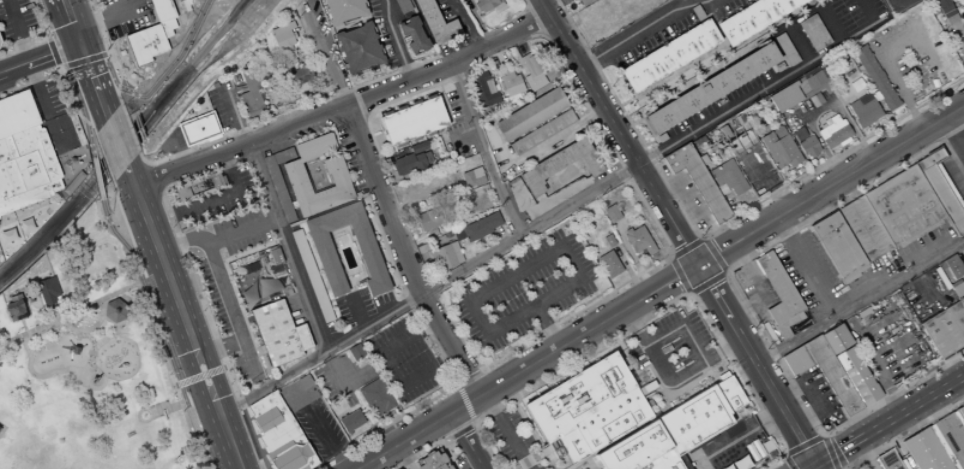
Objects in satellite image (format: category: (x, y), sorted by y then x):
building: (585, 2)
road: (899, 4)
building: (403, 5)
building: (488, 5)
road: (525, 7)
building: (727, 7)
building: (162, 10)
building: (344, 10)
building: (946, 10)
building: (697, 12)
building: (848, 14)
road: (69, 15)
road: (798, 17)
building: (755, 18)
road: (109, 19)
road: (508, 19)
road: (534, 19)
building: (437, 22)
road: (832, 22)
road: (465, 24)
building: (167, 27)
road: (641, 28)
building: (815, 31)
road: (18, 32)
road: (958, 32)
road: (541, 33)
road: (61, 34)
building: (283, 35)
building: (293, 35)
building: (414, 35)
road: (46, 37)
road: (77, 38)
building: (651, 39)
road: (41, 40)
road: (395, 41)
road: (518, 42)
road: (800, 42)
road: (106, 43)
building: (146, 45)
building: (359, 47)
building: (787, 48)
road: (501, 53)
road: (55, 54)
road: (55, 55)
building: (671, 55)
building: (288, 60)
road: (86, 62)
road: (484, 62)
road: (172, 63)
building: (532, 65)
building: (780, 66)
road: (886, 66)
road: (560, 67)
road: (15, 70)
road: (62, 71)
road: (64, 73)
road: (391, 74)
building: (298, 76)
building: (876, 76)
building: (815, 79)
building: (509, 80)
road: (93, 81)
building: (536, 82)
road: (767, 86)
building: (714, 87)
building: (484, 89)
road: (108, 90)
building: (525, 91)
road: (75, 94)
building: (251, 95)
road: (958, 95)
building: (513, 97)
building: (785, 97)
road: (358, 99)
road: (627, 101)
road: (388, 102)
road: (446, 103)
road: (837, 103)
road: (121, 105)
road: (343, 106)
road: (486, 111)
building: (864, 111)
building: (16, 113)
road: (234, 113)
road: (366, 113)
building: (531, 114)
building: (413, 120)
road: (637, 121)
road: (930, 122)
road: (956, 124)
building: (198, 128)
road: (378, 128)
building: (542, 132)
building: (835, 132)
road: (953, 133)
road: (132, 135)
building: (662, 137)
road: (464, 140)
road: (555, 140)
road: (116, 141)
building: (740, 142)
road: (941, 142)
road: (822, 145)
road: (199, 146)
building: (809, 146)
building: (315, 147)
building: (417, 148)
building: (781, 149)
road: (344, 150)
road: (483, 150)
building: (283, 155)
road: (102, 156)
road: (389, 156)
building: (408, 163)
building: (561, 165)
building: (26, 169)
road: (127, 173)
road: (150, 175)
building: (473, 177)
building: (728, 177)
road: (96, 179)
building: (223, 180)
building: (699, 180)
road: (765, 181)
building: (297, 182)
building: (196, 187)
building: (278, 188)
road: (162, 189)
building: (941, 189)
building: (519, 194)
road: (138, 196)
road: (422, 196)
building: (555, 196)
parking lot: (219, 199)
road: (210, 200)
road: (386, 205)
building: (904, 207)
road: (324, 213)
building: (612, 213)
building: (441, 214)
building: (428, 219)
building: (478, 227)
road: (558, 227)
road: (214, 228)
building: (864, 228)
road: (658, 229)
road: (713, 229)
building: (431, 231)
road: (679, 232)
road: (500, 235)
building: (6, 236)
road: (697, 237)
road: (531, 238)
road: (551, 240)
building: (609, 240)
building: (639, 240)
road: (413, 241)
road: (287, 245)
building: (838, 246)
road: (685, 247)
road: (672, 254)
road: (710, 254)
building: (369, 255)
building: (445, 256)
road: (631, 256)
building: (274, 261)
building: (610, 264)
road: (806, 265)
building: (951, 266)
park: (563, 267)
road: (628, 271)
road: (724, 271)
road: (682, 273)
building: (311, 274)
road: (705, 280)
road: (195, 285)
road: (660, 286)
road: (928, 288)
building: (957, 288)
road: (427, 289)
building: (777, 289)
road: (524, 290)
road: (593, 290)
building: (47, 291)
road: (405, 293)
road: (689, 293)
road: (738, 299)
road: (860, 300)
building: (962, 300)
road: (569, 305)
parking lot: (497, 307)
building: (13, 309)
building: (114, 311)
road: (355, 311)
road: (67, 312)
road: (181, 315)
road: (648, 315)
road: (233, 317)
road: (242, 317)
parking lot: (229, 318)
road: (506, 319)
road: (150, 322)
road: (471, 323)
road: (157, 325)
building: (946, 330)
road: (248, 332)
building: (274, 332)
building: (302, 337)
building: (837, 338)
road: (693, 339)
road: (647, 347)
road: (219, 348)
park: (82, 351)
road: (255, 352)
building: (356, 352)
road: (606, 353)
parking lot: (405, 361)
building: (683, 367)
road: (388, 371)
road: (637, 372)
building: (824, 372)
road: (468, 376)
building: (860, 378)
road: (346, 381)
building: (297, 393)
building: (729, 394)
park: (91, 395)
building: (376, 397)
building: (579, 398)
road: (468, 400)
road: (363, 403)
road: (461, 404)
road: (914, 407)
building: (960, 412)
fountain: (142, 415)
road: (387, 417)
road: (250, 418)
building: (693, 420)
building: (351, 421)
building: (274, 422)
road: (473, 422)
road: (429, 423)
road: (318, 425)
road: (385, 426)
building: (603, 427)
road: (455, 431)
road: (505, 431)
road: (396, 432)
road: (903, 433)
road: (257, 435)
road: (821, 435)
road: (738, 437)
building: (950, 438)
road: (384, 439)
road: (467, 440)
road: (439, 442)
road: (804, 446)
road: (429, 447)
building: (633, 448)
building: (762, 448)
building: (925, 450)
road: (262, 451)
road: (841, 451)
road: (832, 452)
road: (864, 455)
road: (404, 456)
road: (786, 456)
building: (291, 457)
building: (432, 461)
building: (661, 461)
building: (888, 461)
road: (593, 462)
building: (740, 463)
road: (790, 463)
building: (906, 463)
traffic signals: (818, 466)
building: (440, 467)
building: (448, 467)
road: (591, 467)
road: (815, 467)
road: (818, 467)
road: (237, 468)

